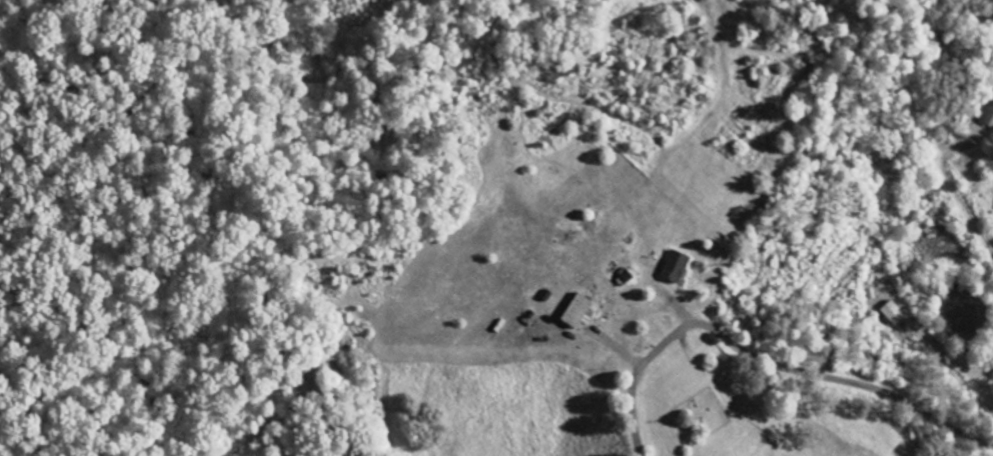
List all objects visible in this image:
building: (675, 267)
building: (578, 311)
building: (893, 313)
road: (980, 381)

